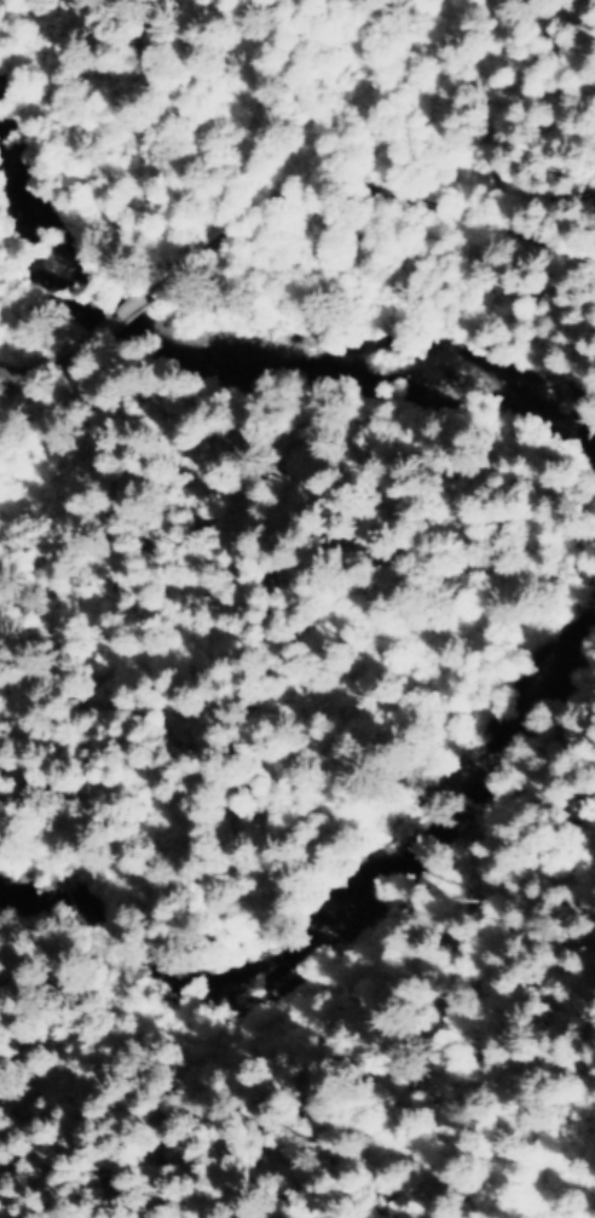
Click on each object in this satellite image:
river: (572, 471)

